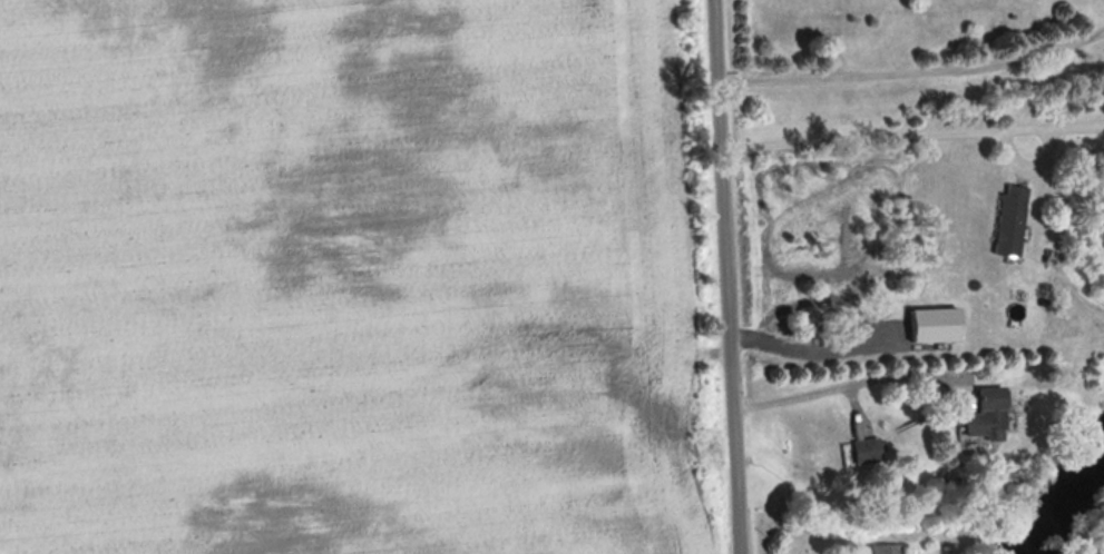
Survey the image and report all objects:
building: (1016, 221)
road: (724, 277)
building: (994, 415)
building: (871, 451)
river: (1066, 505)
building: (892, 548)

